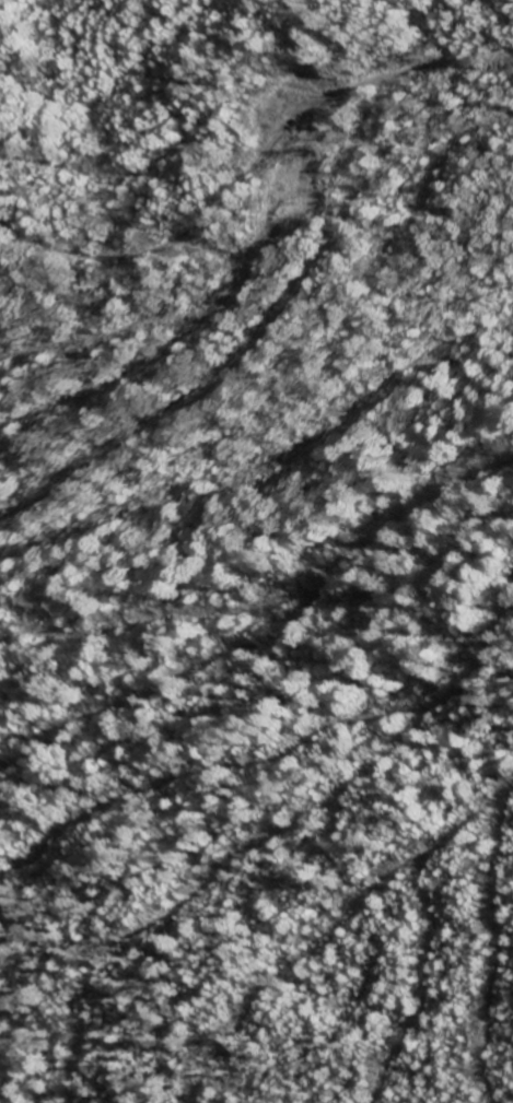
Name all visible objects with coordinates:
road: (266, 329)

